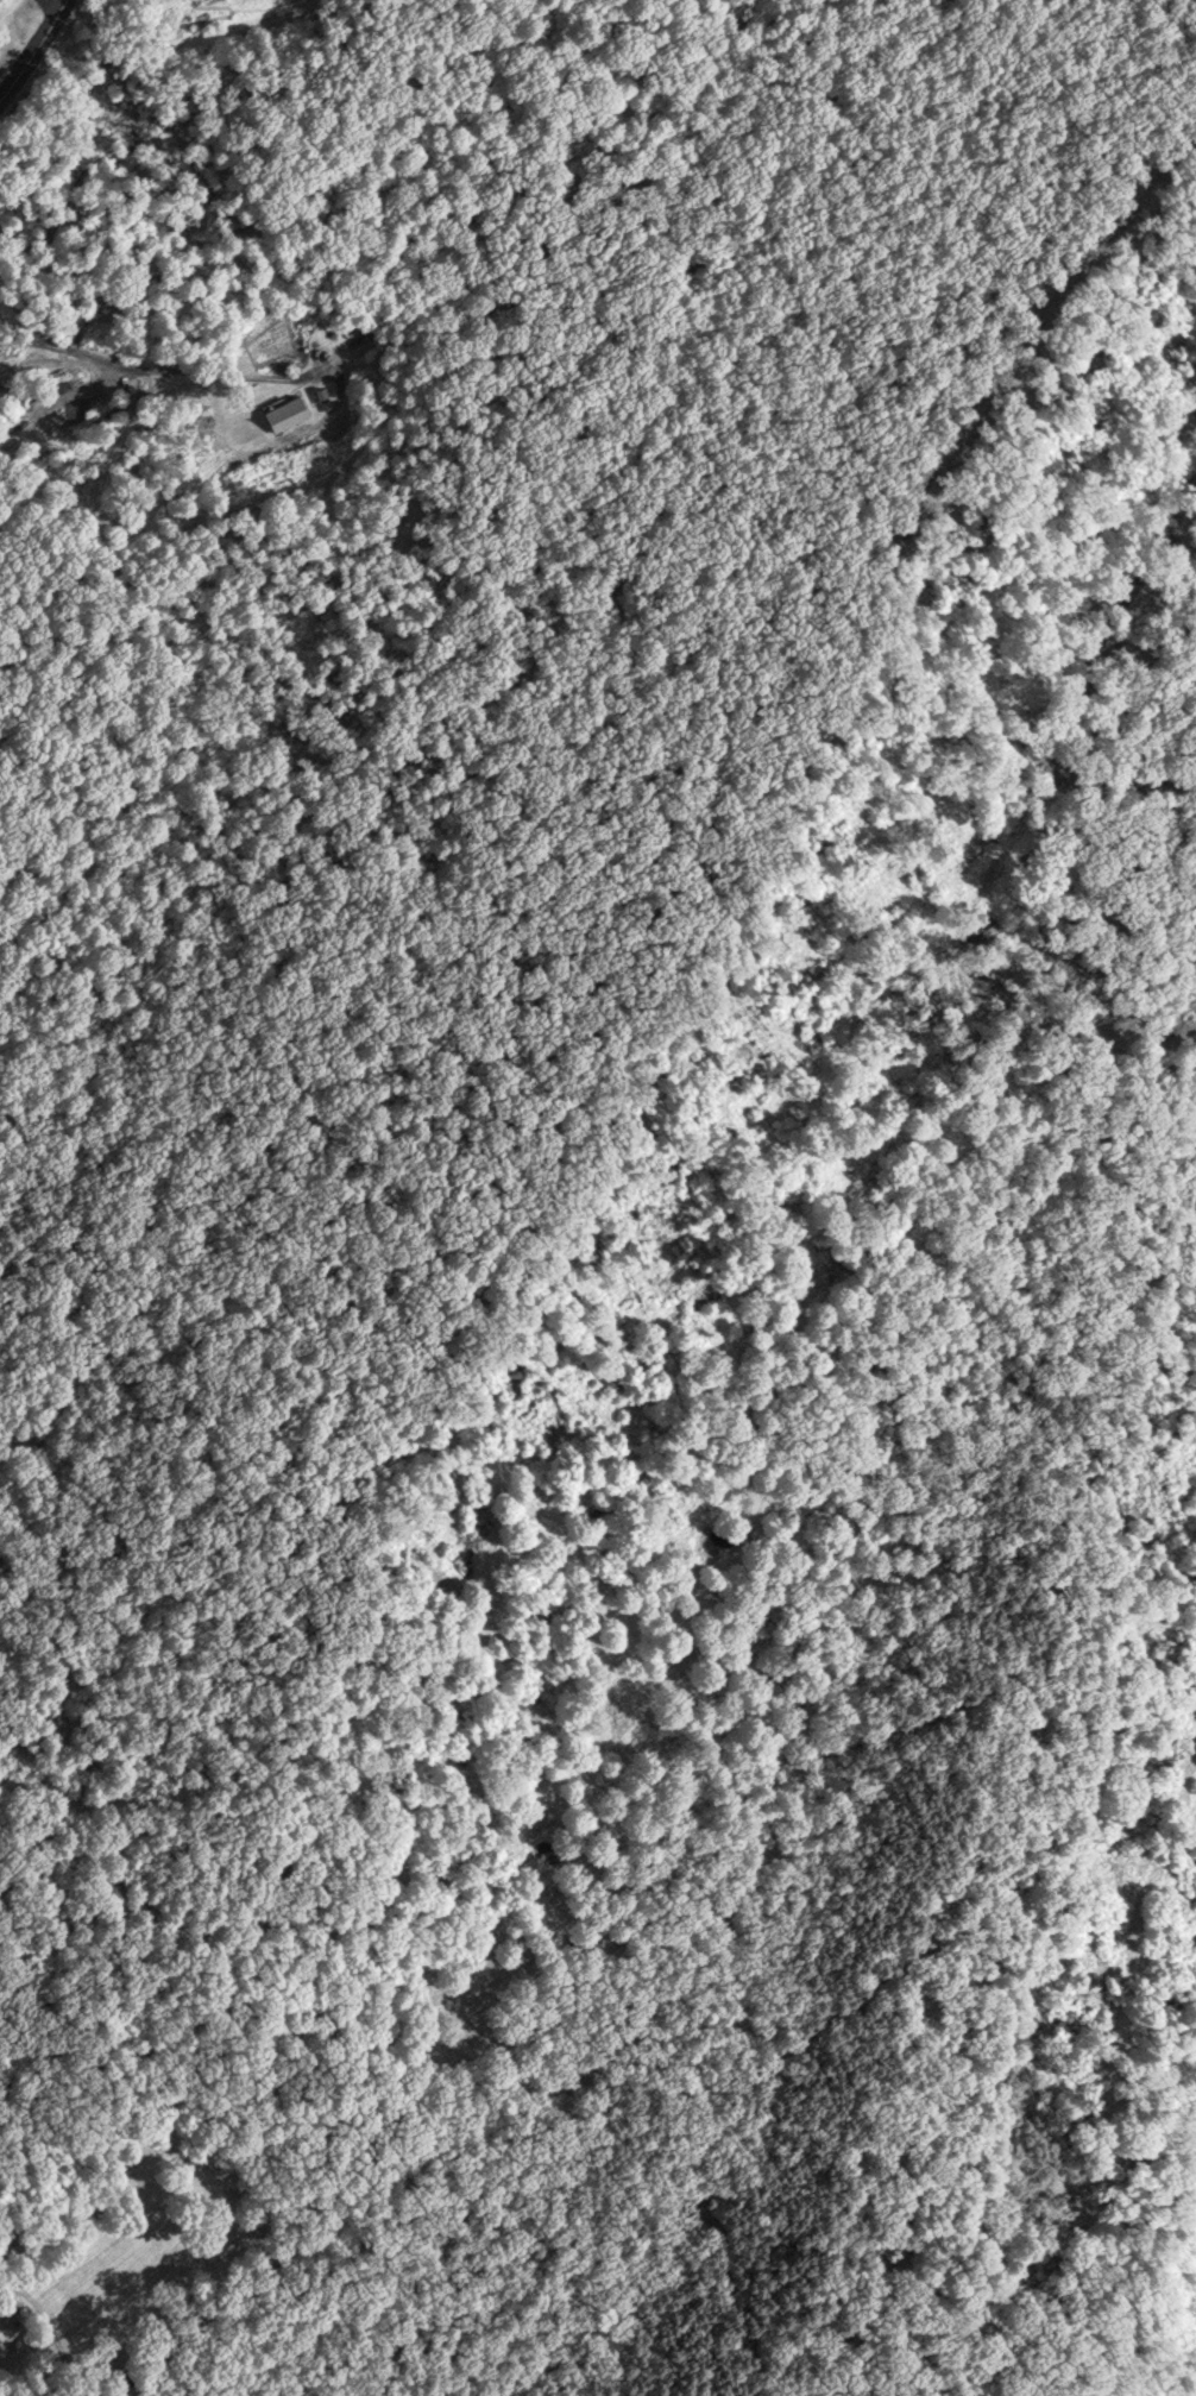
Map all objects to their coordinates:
road: (34, 42)
road: (163, 377)
building: (1, 388)

